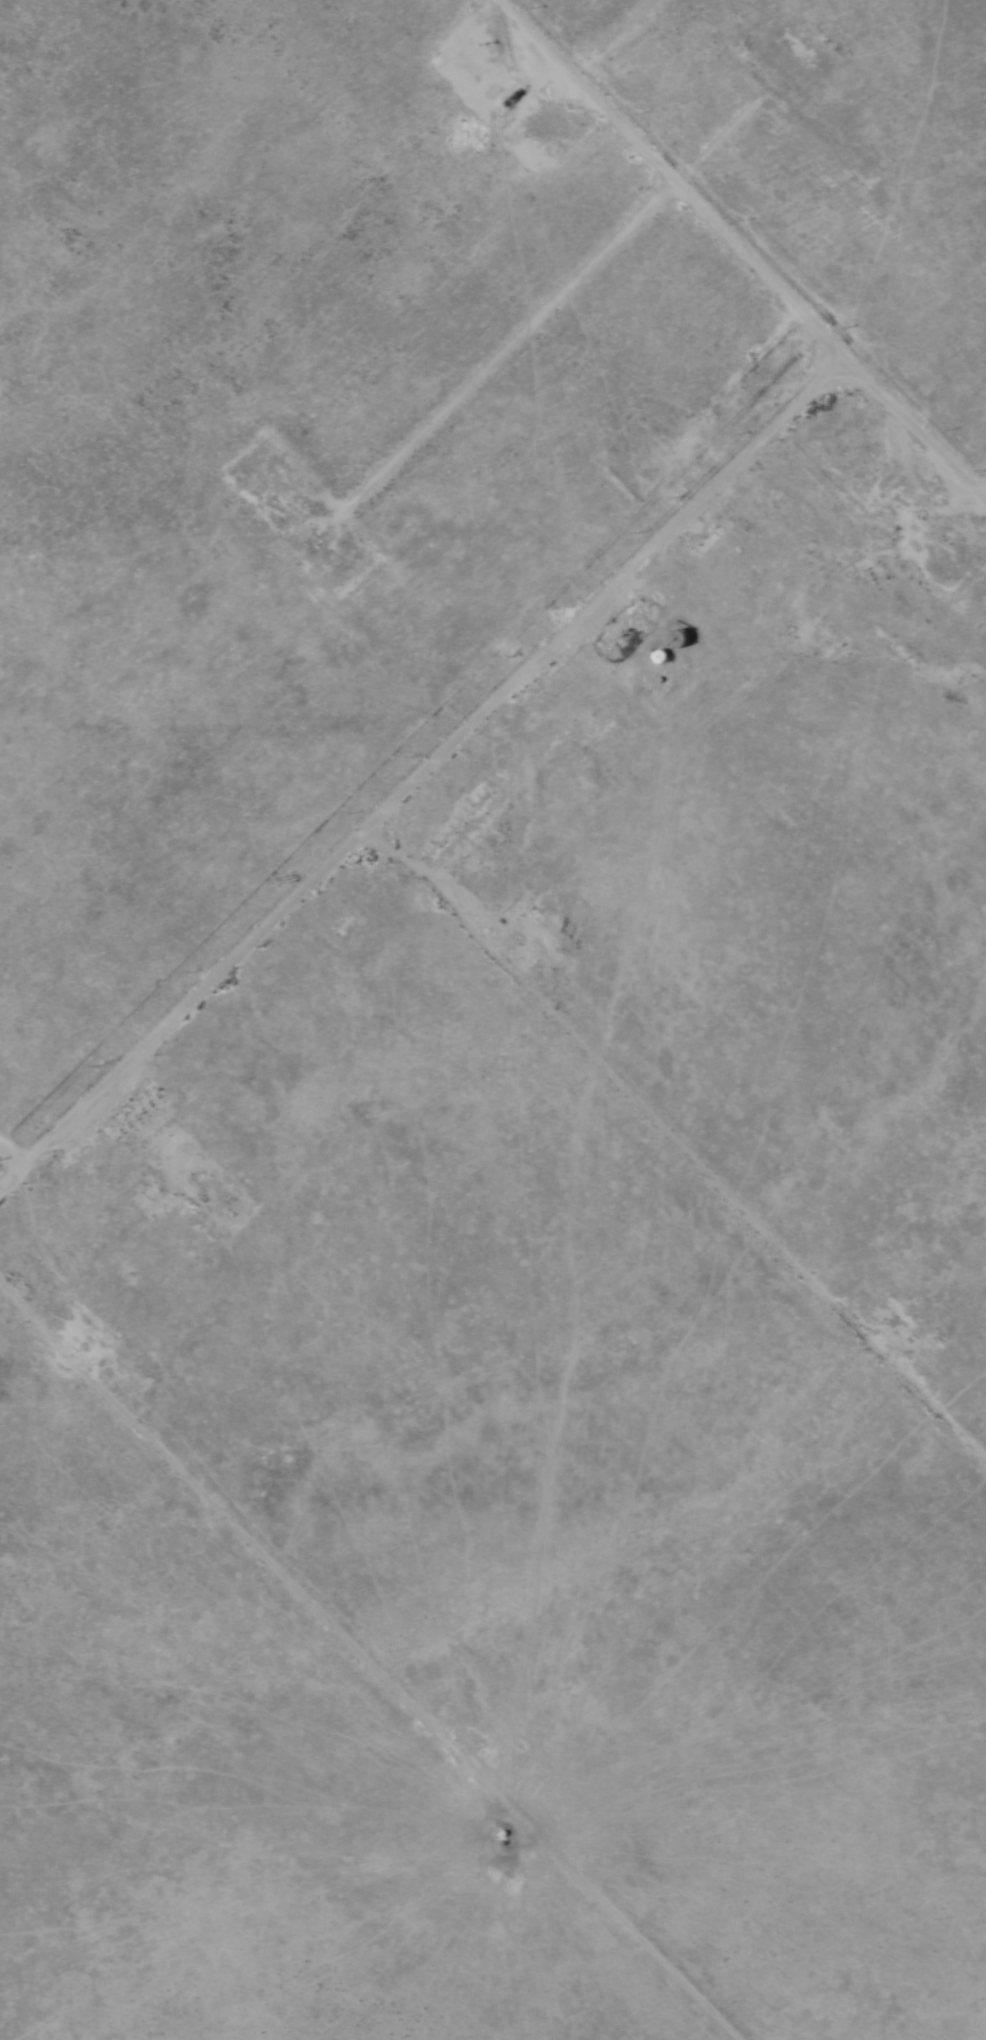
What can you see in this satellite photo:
road: (536, 36)
road: (903, 421)
road: (734, 456)
road: (972, 486)
building: (675, 639)
road: (496, 970)
road: (367, 1662)

